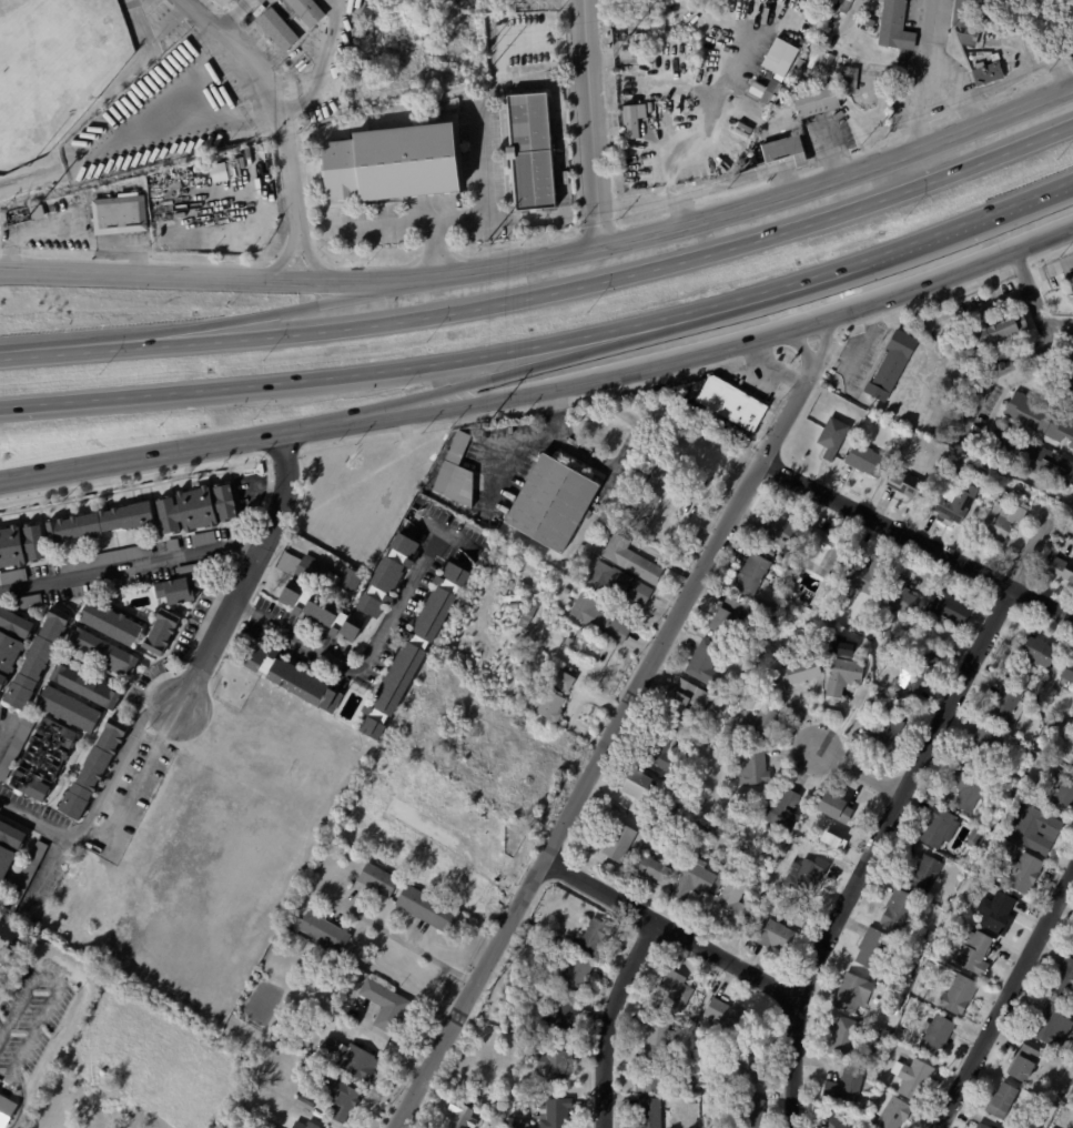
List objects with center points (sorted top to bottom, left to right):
building: (223, 1)
road: (333, 2)
building: (306, 10)
building: (960, 13)
building: (866, 22)
building: (893, 27)
building: (281, 29)
building: (965, 38)
building: (635, 41)
road: (1052, 46)
building: (788, 50)
power tower: (486, 52)
road: (253, 59)
road: (318, 66)
park: (52, 67)
stadium: (55, 70)
building: (986, 71)
road: (920, 77)
building: (851, 81)
building: (753, 90)
building: (768, 90)
building: (817, 100)
building: (630, 121)
road: (591, 124)
building: (782, 150)
road: (478, 152)
building: (534, 155)
building: (393, 161)
road: (763, 203)
road: (297, 210)
building: (39, 214)
building: (121, 216)
road: (378, 224)
power tower: (487, 244)
road: (1047, 269)
road: (221, 280)
building: (1072, 282)
road: (589, 285)
building: (1071, 289)
road: (1035, 304)
road: (982, 305)
road: (264, 315)
building: (994, 331)
road: (822, 341)
road: (547, 344)
road: (802, 348)
road: (42, 351)
road: (857, 353)
road: (689, 359)
road: (1008, 364)
building: (890, 365)
building: (1070, 372)
road: (509, 373)
building: (733, 403)
building: (1040, 417)
power tower: (486, 419)
building: (831, 437)
road: (527, 440)
road: (145, 455)
building: (863, 459)
building: (1030, 459)
building: (666, 473)
building: (459, 474)
building: (904, 484)
building: (1002, 493)
building: (1013, 493)
building: (554, 504)
building: (953, 504)
building: (199, 508)
building: (644, 511)
building: (999, 518)
building: (103, 522)
building: (778, 532)
building: (205, 538)
road: (918, 543)
building: (175, 545)
building: (21, 546)
building: (770, 553)
building: (819, 553)
building: (107, 558)
building: (635, 560)
road: (129, 565)
building: (1061, 568)
road: (245, 570)
building: (43, 571)
building: (770, 572)
building: (323, 575)
building: (750, 576)
building: (13, 577)
building: (861, 577)
building: (181, 582)
building: (624, 584)
building: (385, 587)
building: (569, 591)
building: (898, 594)
building: (32, 602)
building: (947, 608)
building: (145, 615)
building: (722, 617)
building: (603, 620)
building: (112, 622)
building: (161, 630)
building: (12, 641)
building: (571, 641)
building: (595, 642)
building: (413, 649)
building: (105, 652)
building: (1036, 652)
building: (40, 659)
building: (702, 663)
road: (365, 665)
building: (796, 672)
building: (1067, 672)
building: (841, 675)
building: (927, 676)
building: (1052, 676)
building: (295, 678)
building: (568, 681)
building: (90, 686)
building: (0, 701)
building: (686, 702)
building: (555, 704)
building: (1004, 707)
building: (72, 709)
building: (758, 724)
road: (6, 727)
building: (890, 728)
road: (608, 745)
building: (660, 746)
building: (980, 746)
building: (18, 747)
building: (1072, 753)
building: (44, 759)
building: (1072, 761)
building: (751, 767)
building: (95, 768)
road: (860, 769)
road: (138, 784)
building: (636, 787)
building: (968, 789)
building: (1062, 793)
road: (99, 798)
building: (831, 809)
road: (893, 812)
building: (781, 813)
building: (937, 828)
building: (996, 829)
building: (1032, 829)
building: (972, 837)
building: (618, 842)
building: (593, 843)
building: (796, 843)
building: (9, 846)
building: (442, 854)
building: (401, 860)
building: (648, 870)
road: (44, 874)
building: (924, 874)
building: (1019, 874)
building: (454, 875)
building: (804, 876)
building: (28, 877)
building: (379, 880)
building: (692, 882)
building: (0, 887)
building: (1, 893)
building: (729, 906)
building: (428, 909)
building: (897, 912)
building: (994, 913)
road: (670, 928)
building: (9, 931)
building: (326, 933)
building: (596, 935)
building: (772, 936)
building: (927, 936)
road: (412, 945)
building: (873, 948)
building: (1071, 951)
building: (913, 954)
building: (972, 954)
building: (7, 964)
building: (932, 965)
building: (578, 973)
building: (98, 979)
building: (1062, 981)
building: (671, 991)
building: (849, 994)
power tower: (488, 995)
building: (955, 997)
road: (1005, 999)
building: (388, 1005)
building: (722, 1015)
building: (564, 1016)
road: (610, 1019)
building: (692, 1023)
building: (1050, 1026)
building: (656, 1036)
building: (841, 1037)
building: (933, 1038)
building: (286, 1041)
building: (352, 1059)
building: (559, 1065)
building: (745, 1065)
building: (1022, 1065)
park: (140, 1068)
building: (650, 1077)
building: (912, 1080)
building: (689, 1081)
building: (885, 1087)
building: (841, 1089)
building: (0, 1091)
building: (344, 1099)
building: (310, 1101)
building: (706, 1101)
building: (999, 1101)
building: (748, 1110)
building: (7, 1111)
building: (558, 1112)
building: (890, 1112)
building: (647, 1114)
building: (467, 1118)
building: (828, 1121)
building: (526, 1124)
building: (313, 1126)
building: (979, 1126)

